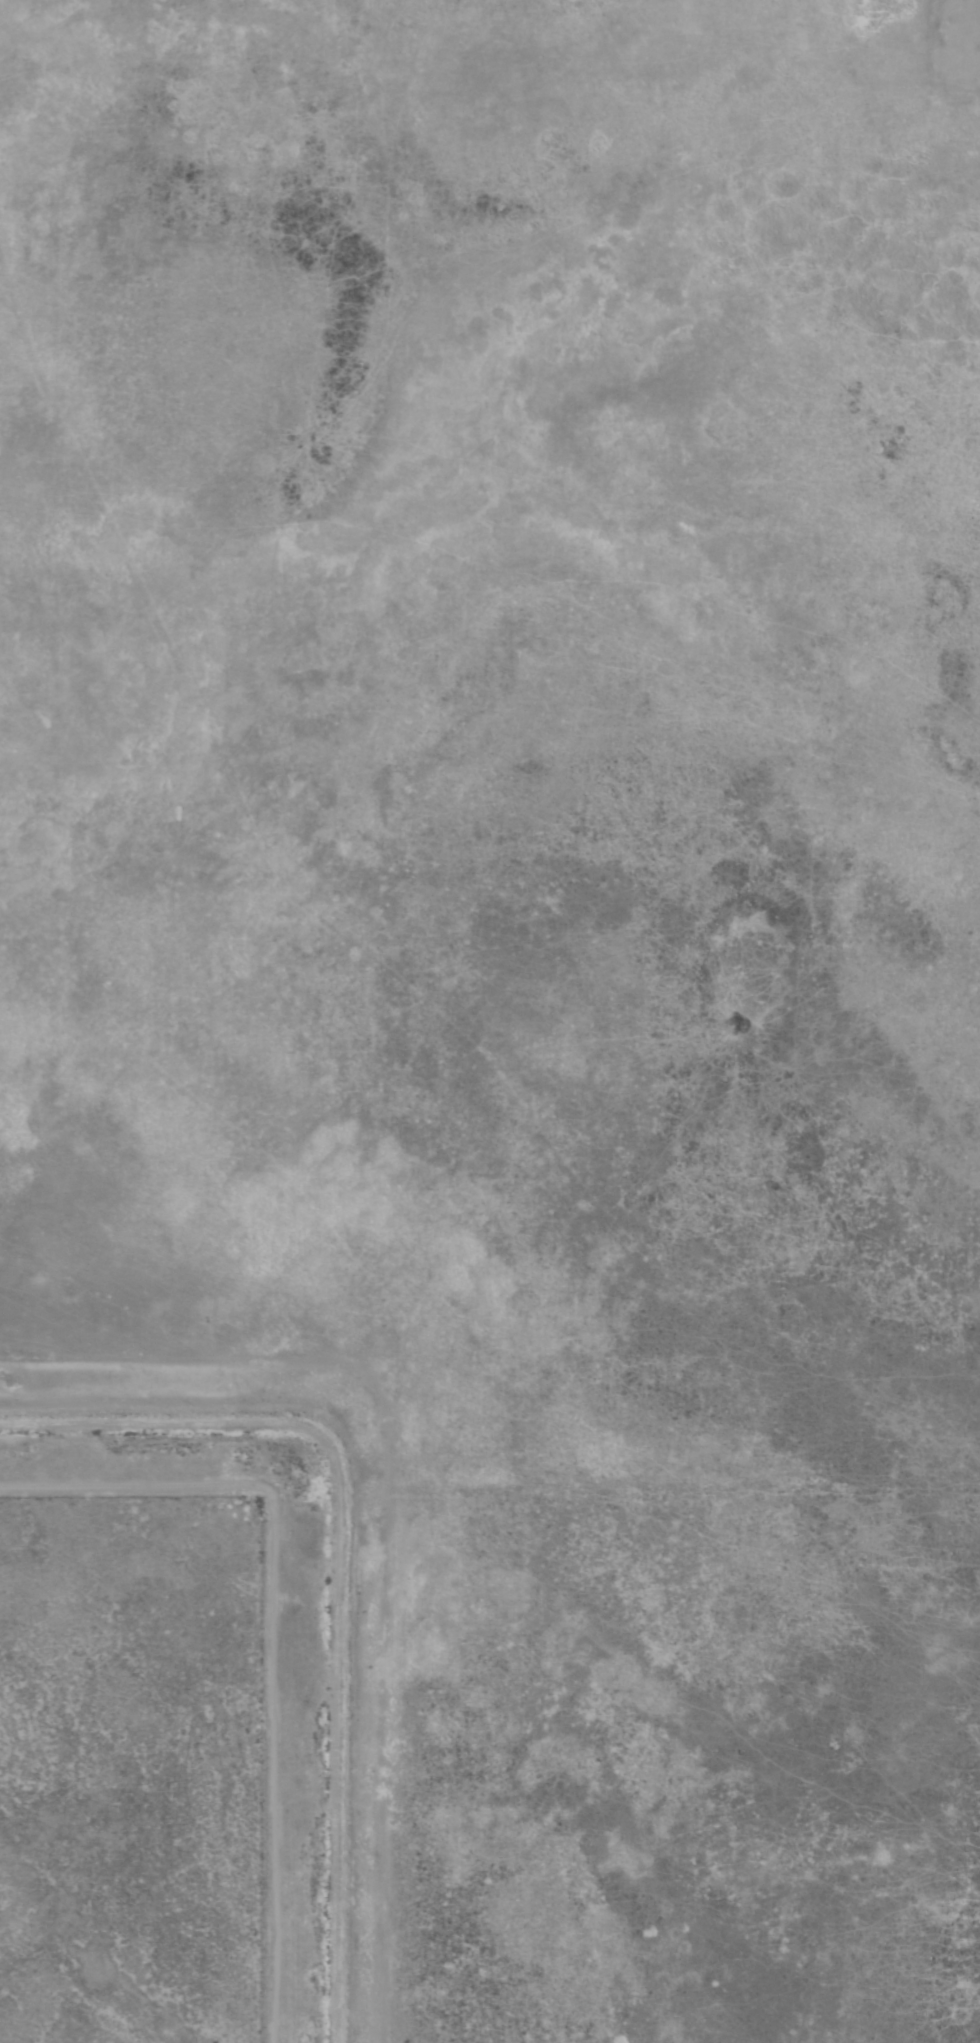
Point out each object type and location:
crop: (520, 957)

